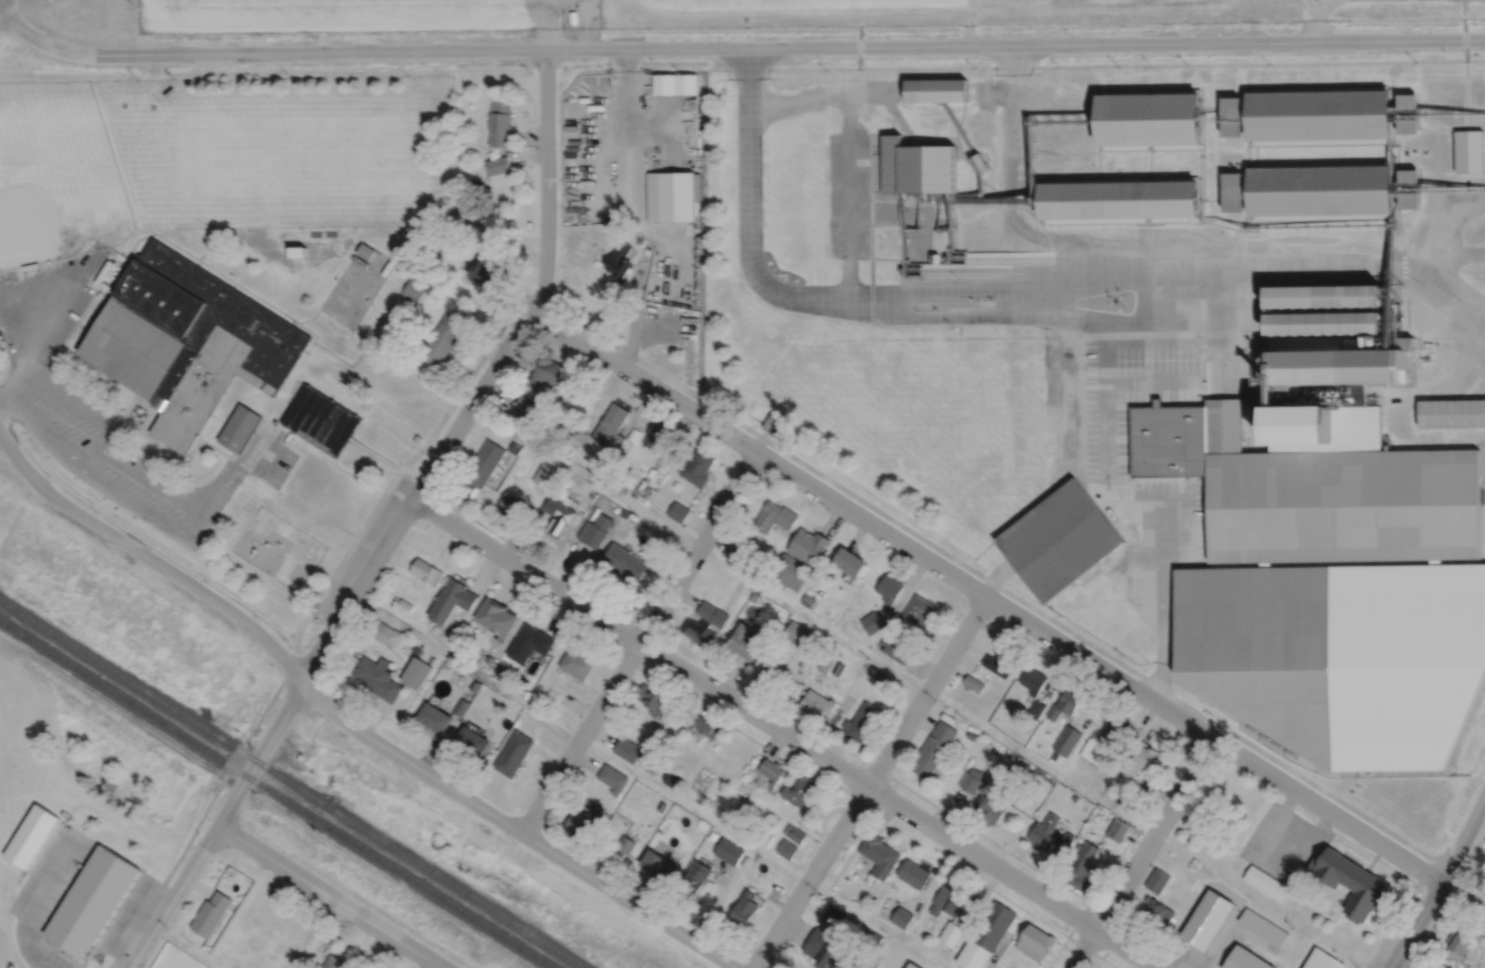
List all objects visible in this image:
road: (1321, 2)
road: (1324, 2)
road: (1094, 7)
road: (815, 11)
building: (572, 16)
road: (1314, 21)
road: (544, 24)
road: (1464, 41)
road: (736, 47)
building: (1480, 66)
building: (1434, 68)
building: (935, 89)
road: (822, 97)
building: (1403, 112)
building: (1317, 113)
building: (1232, 115)
building: (1148, 117)
building: (499, 122)
building: (1468, 150)
park: (297, 157)
building: (976, 162)
building: (496, 165)
building: (916, 166)
park: (57, 175)
road: (1445, 177)
building: (476, 186)
building: (1405, 188)
building: (1319, 190)
building: (1233, 191)
road: (850, 193)
building: (670, 196)
road: (1003, 197)
building: (1117, 199)
road: (943, 203)
road: (1011, 203)
road: (871, 208)
building: (455, 215)
building: (480, 215)
road: (143, 236)
building: (297, 251)
building: (365, 251)
building: (933, 258)
building: (619, 260)
building: (29, 267)
building: (482, 269)
road: (1011, 290)
building: (413, 291)
park: (351, 293)
road: (635, 295)
road: (1223, 295)
building: (1322, 297)
road: (65, 317)
road: (308, 319)
road: (1201, 319)
building: (1323, 325)
road: (1451, 339)
building: (442, 340)
building: (187, 341)
road: (1105, 362)
building: (1339, 370)
building: (544, 373)
road: (1153, 382)
road: (299, 383)
road: (1438, 392)
road: (282, 395)
road: (270, 397)
road: (291, 401)
building: (522, 406)
road: (153, 410)
building: (1451, 414)
building: (321, 420)
building: (772, 423)
building: (610, 428)
building: (1357, 428)
building: (239, 429)
road: (118, 431)
building: (1302, 432)
road: (44, 434)
building: (632, 435)
building: (655, 435)
building: (1183, 438)
parking lot: (1107, 440)
building: (515, 448)
parking lot: (112, 454)
road: (155, 462)
building: (484, 464)
building: (696, 468)
road: (145, 476)
road: (114, 489)
building: (592, 495)
building: (1343, 505)
building: (511, 508)
building: (678, 512)
building: (624, 514)
building: (567, 517)
building: (774, 518)
road: (396, 525)
building: (594, 531)
building: (1058, 540)
building: (808, 547)
parking lot: (361, 552)
building: (737, 552)
building: (622, 561)
building: (850, 562)
building: (790, 571)
building: (426, 573)
road: (997, 585)
building: (890, 588)
building: (755, 596)
building: (451, 600)
building: (808, 600)
building: (405, 604)
building: (917, 612)
road: (1007, 612)
road: (309, 613)
building: (712, 613)
building: (496, 616)
building: (872, 622)
building: (436, 628)
building: (382, 631)
building: (698, 631)
road: (622, 633)
building: (797, 633)
road: (586, 636)
building: (745, 640)
building: (528, 642)
road: (640, 642)
building: (896, 648)
building: (416, 649)
building: (810, 651)
building: (1339, 653)
building: (489, 660)
building: (826, 661)
building: (576, 663)
building: (802, 663)
building: (996, 665)
building: (499, 669)
building: (416, 672)
building: (767, 672)
building: (378, 677)
building: (881, 677)
building: (1033, 679)
building: (973, 683)
building: (474, 686)
building: (540, 688)
road: (926, 691)
building: (654, 700)
building: (817, 703)
road: (774, 705)
building: (1063, 705)
building: (461, 707)
building: (1035, 708)
road: (704, 709)
building: (435, 717)
road: (349, 721)
building: (863, 721)
building: (700, 723)
building: (1114, 729)
road: (784, 733)
building: (970, 735)
building: (1066, 740)
building: (472, 741)
building: (627, 749)
building: (933, 749)
building: (512, 753)
building: (1054, 755)
building: (299, 756)
building: (1139, 760)
building: (771, 770)
building: (612, 778)
building: (670, 780)
building: (970, 780)
road: (649, 782)
railway: (293, 783)
road: (870, 783)
building: (799, 790)
railway: (275, 793)
building: (1074, 797)
building: (990, 804)
building: (674, 809)
building: (731, 818)
building: (579, 820)
building: (1117, 829)
building: (794, 833)
building: (1049, 834)
building: (31, 836)
building: (713, 836)
road: (1464, 839)
parking lot: (1284, 843)
building: (1077, 845)
building: (622, 848)
building: (787, 849)
road: (1474, 850)
building: (729, 851)
road: (1142, 853)
building: (880, 854)
road: (1370, 854)
road: (1275, 860)
building: (658, 865)
building: (1081, 866)
park: (1477, 873)
building: (914, 874)
building: (694, 879)
building: (1157, 880)
building: (1267, 883)
building: (1352, 883)
parking lot: (65, 884)
road: (330, 896)
road: (36, 898)
building: (92, 901)
building: (945, 901)
building: (866, 902)
road: (1448, 906)
building: (744, 910)
building: (1157, 911)
building: (210, 914)
building: (834, 916)
building: (903, 918)
building: (1207, 919)
road: (1414, 924)
building: (992, 925)
building: (1263, 926)
road: (1390, 927)
building: (951, 934)
road: (1141, 935)
building: (288, 939)
railway: (574, 939)
road: (1113, 941)
building: (1034, 942)
road: (1076, 942)
building: (1457, 946)
road: (186, 947)
building: (823, 950)
road: (156, 952)
building: (973, 955)
building: (1245, 959)
parking lot: (57, 960)
building: (1323, 960)
building: (333, 963)
road: (436, 966)
building: (913, 966)

